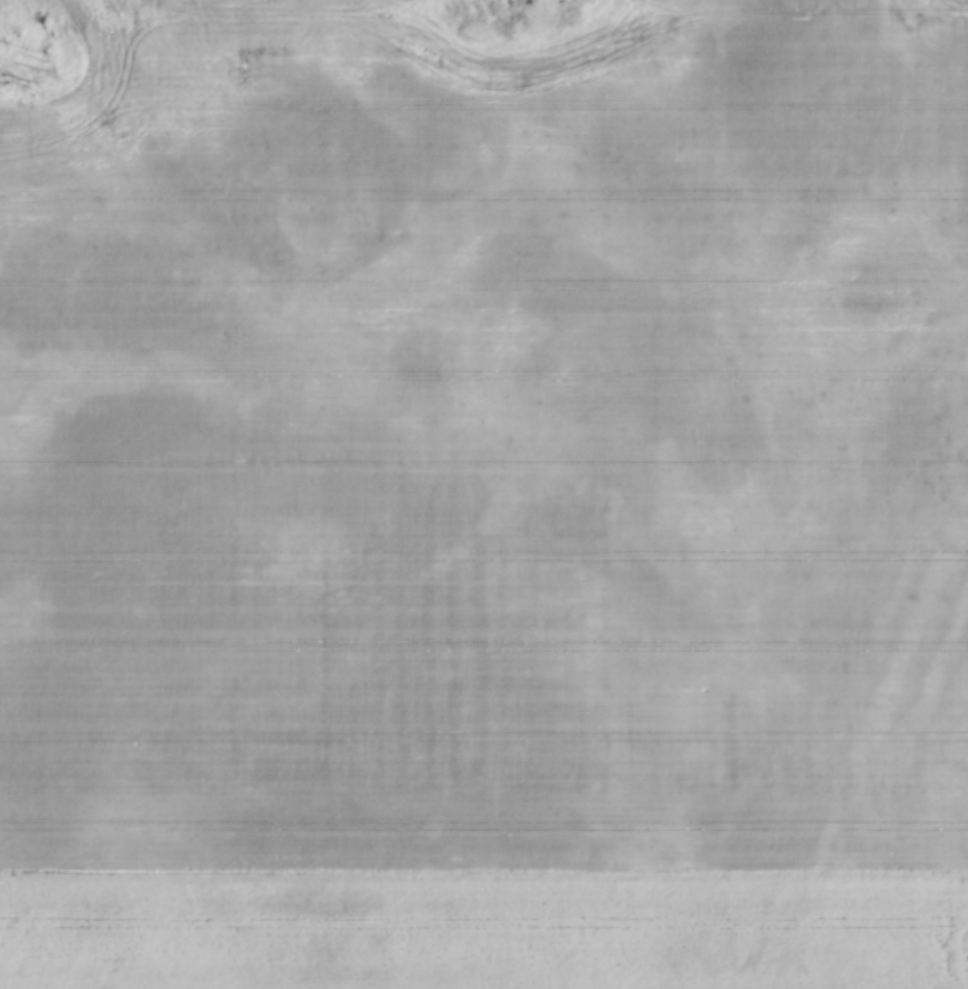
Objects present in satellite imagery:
road: (483, 871)

